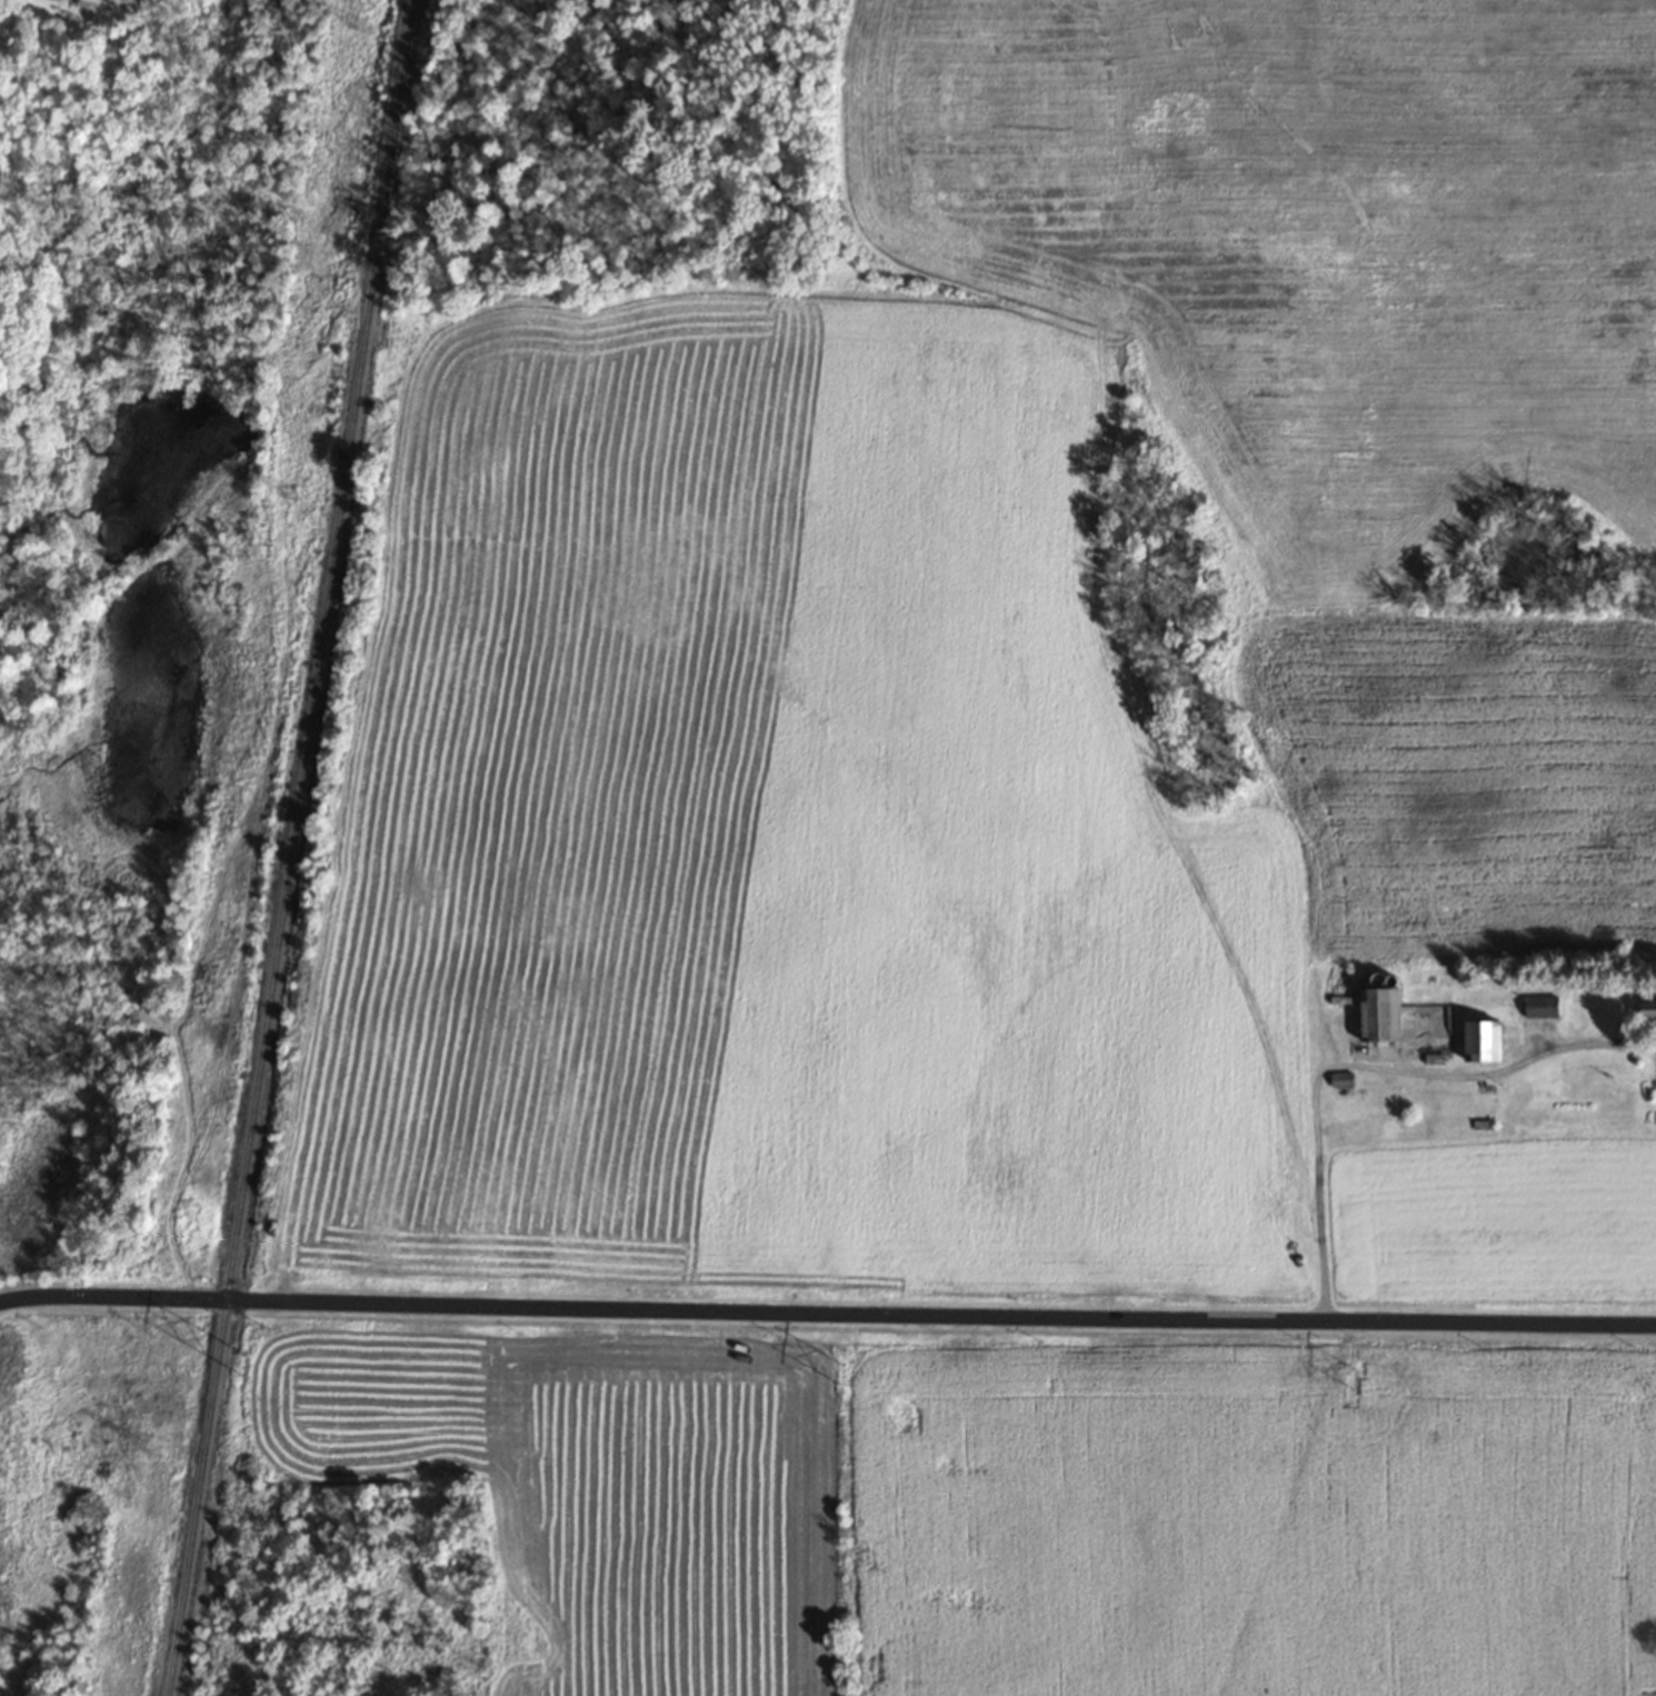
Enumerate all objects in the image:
railway: (299, 848)
building: (1539, 1005)
building: (1644, 1010)
building: (1373, 1012)
building: (1476, 1038)
road: (1364, 1065)
road: (827, 1313)
power tower: (245, 1361)
power tower: (838, 1370)
power tower: (1351, 1377)

